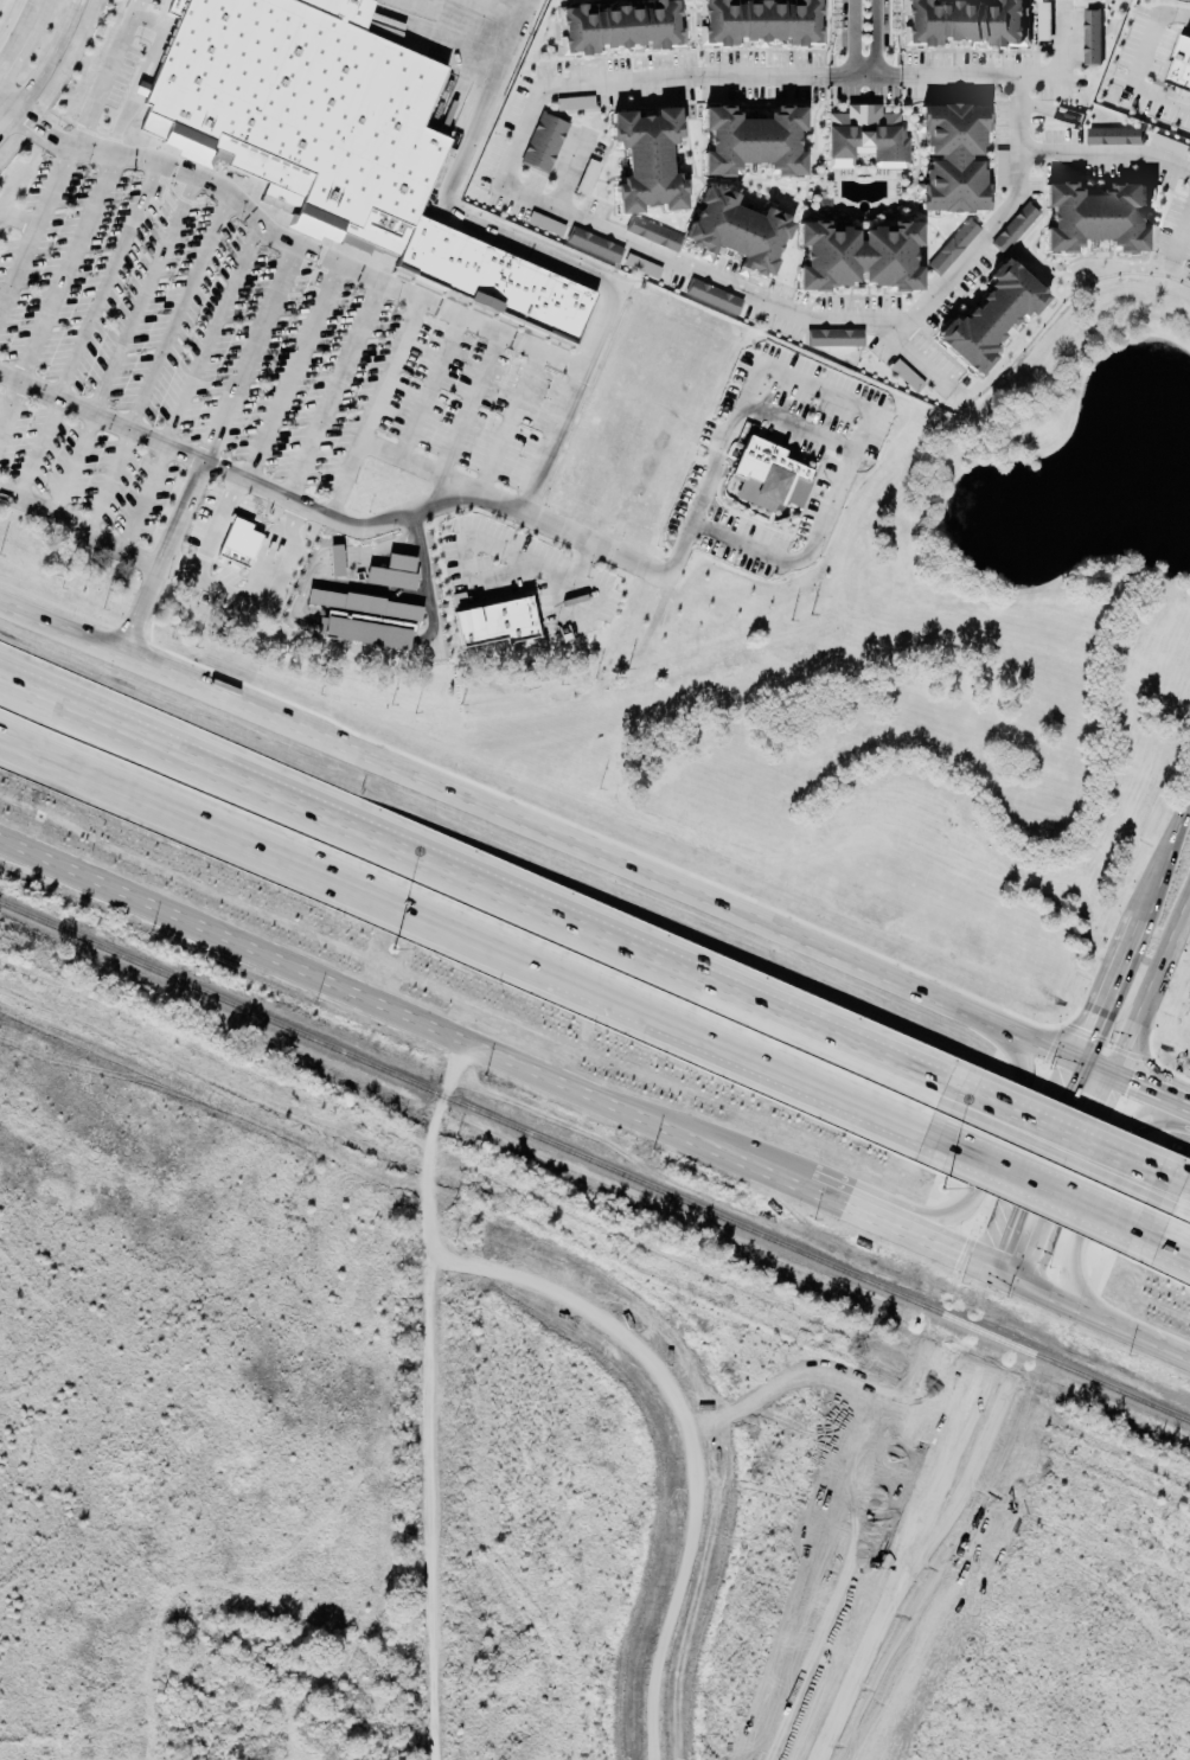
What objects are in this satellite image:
road: (75, 2)
road: (461, 18)
building: (761, 23)
building: (966, 23)
building: (621, 26)
road: (21, 36)
building: (1090, 36)
road: (853, 39)
road: (877, 39)
road: (49, 59)
road: (1133, 63)
building: (1181, 65)
road: (108, 77)
road: (139, 94)
road: (486, 102)
road: (9, 104)
building: (577, 104)
building: (303, 111)
road: (9, 123)
building: (866, 136)
building: (1115, 136)
building: (754, 141)
building: (545, 142)
road: (1106, 153)
building: (954, 159)
building: (647, 161)
road: (164, 166)
road: (507, 191)
building: (1096, 218)
road: (19, 219)
building: (1017, 228)
road: (1182, 230)
building: (738, 231)
road: (36, 232)
building: (657, 235)
building: (596, 245)
building: (955, 247)
building: (859, 257)
building: (644, 267)
road: (357, 273)
building: (494, 281)
road: (58, 297)
building: (715, 297)
building: (992, 318)
road: (88, 331)
road: (499, 333)
building: (837, 337)
road: (124, 346)
parking lot: (220, 356)
road: (160, 364)
road: (581, 371)
road: (295, 373)
road: (427, 386)
road: (818, 389)
road: (192, 390)
road: (335, 392)
road: (466, 404)
road: (505, 421)
road: (796, 427)
road: (0, 435)
road: (210, 452)
road: (409, 463)
building: (770, 481)
road: (271, 491)
road: (212, 526)
road: (79, 529)
road: (572, 536)
building: (239, 544)
building: (338, 561)
building: (395, 572)
road: (488, 575)
road: (268, 584)
building: (460, 601)
road: (300, 602)
building: (366, 619)
building: (498, 622)
road: (25, 680)
road: (25, 686)
road: (539, 832)
road: (1165, 862)
road: (504, 890)
road: (468, 930)
road: (1150, 988)
road: (1108, 993)
road: (379, 1000)
road: (1144, 1068)
road: (1124, 1087)
road: (1179, 1114)
road: (1061, 1134)
railway: (595, 1163)
road: (1035, 1165)
road: (990, 1171)
road: (1041, 1179)
road: (1067, 1179)
road: (817, 1184)
road: (1178, 1184)
road: (1105, 1185)
road: (932, 1235)
road: (1167, 1235)
traffic signals: (1002, 1244)
traffic signals: (962, 1249)
road: (1009, 1271)
road: (1053, 1289)
traffic signals: (1013, 1303)
road: (1135, 1325)
road: (631, 1345)
road: (434, 1511)
road: (888, 1511)
road: (922, 1518)

